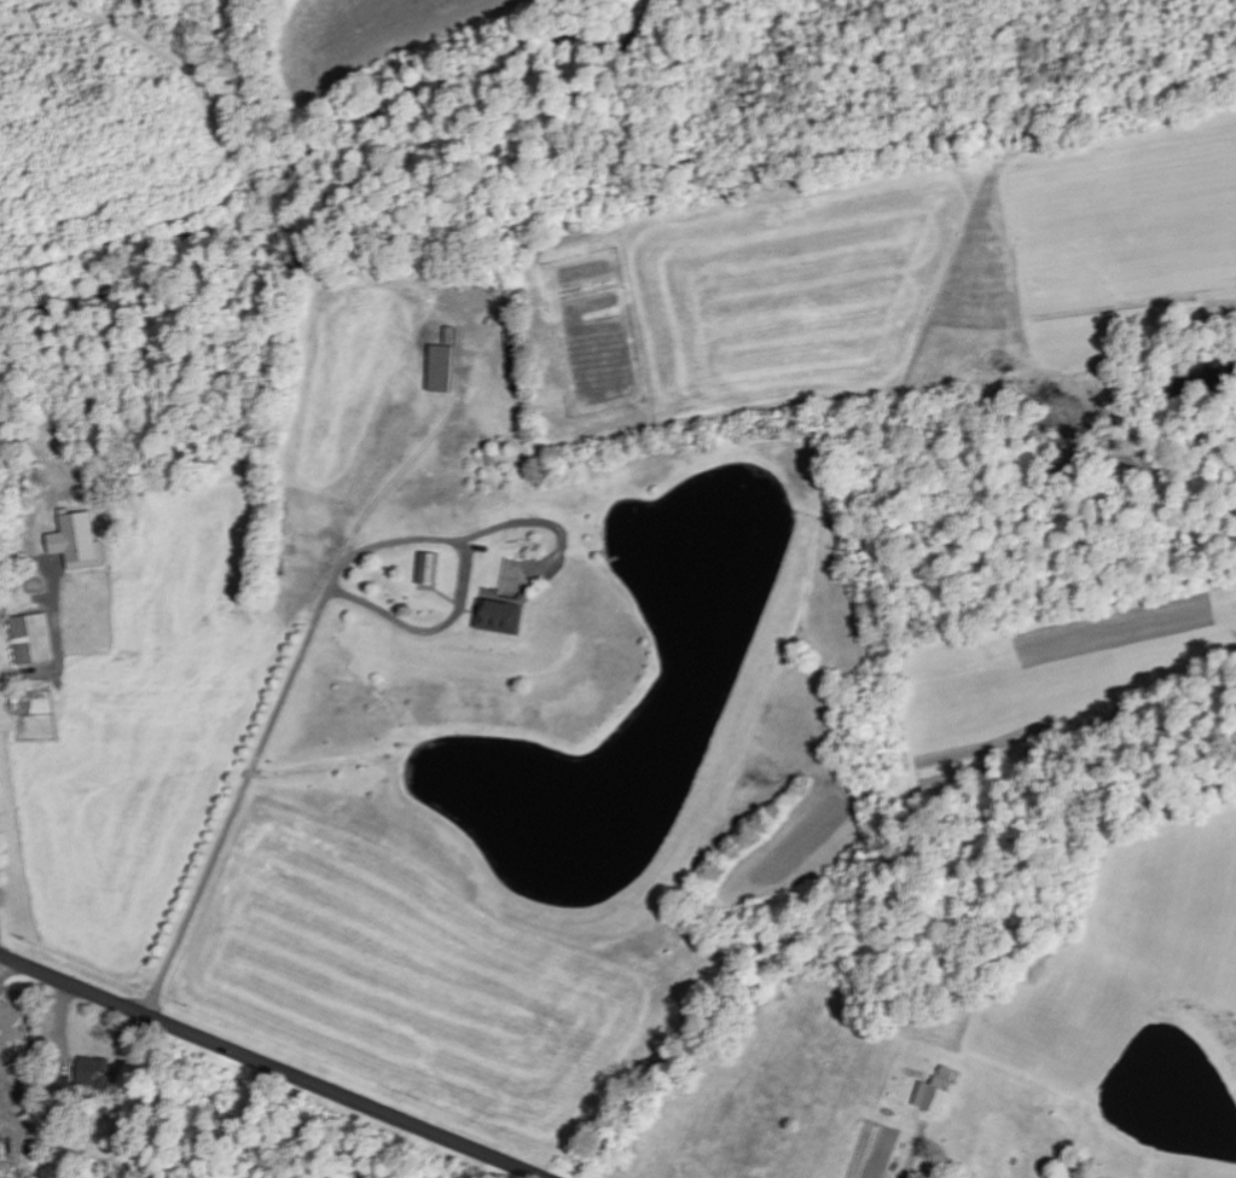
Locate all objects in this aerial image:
building: (442, 366)
building: (80, 544)
building: (429, 571)
building: (501, 620)
building: (31, 640)
road: (275, 1064)
building: (95, 1074)
building: (935, 1093)

